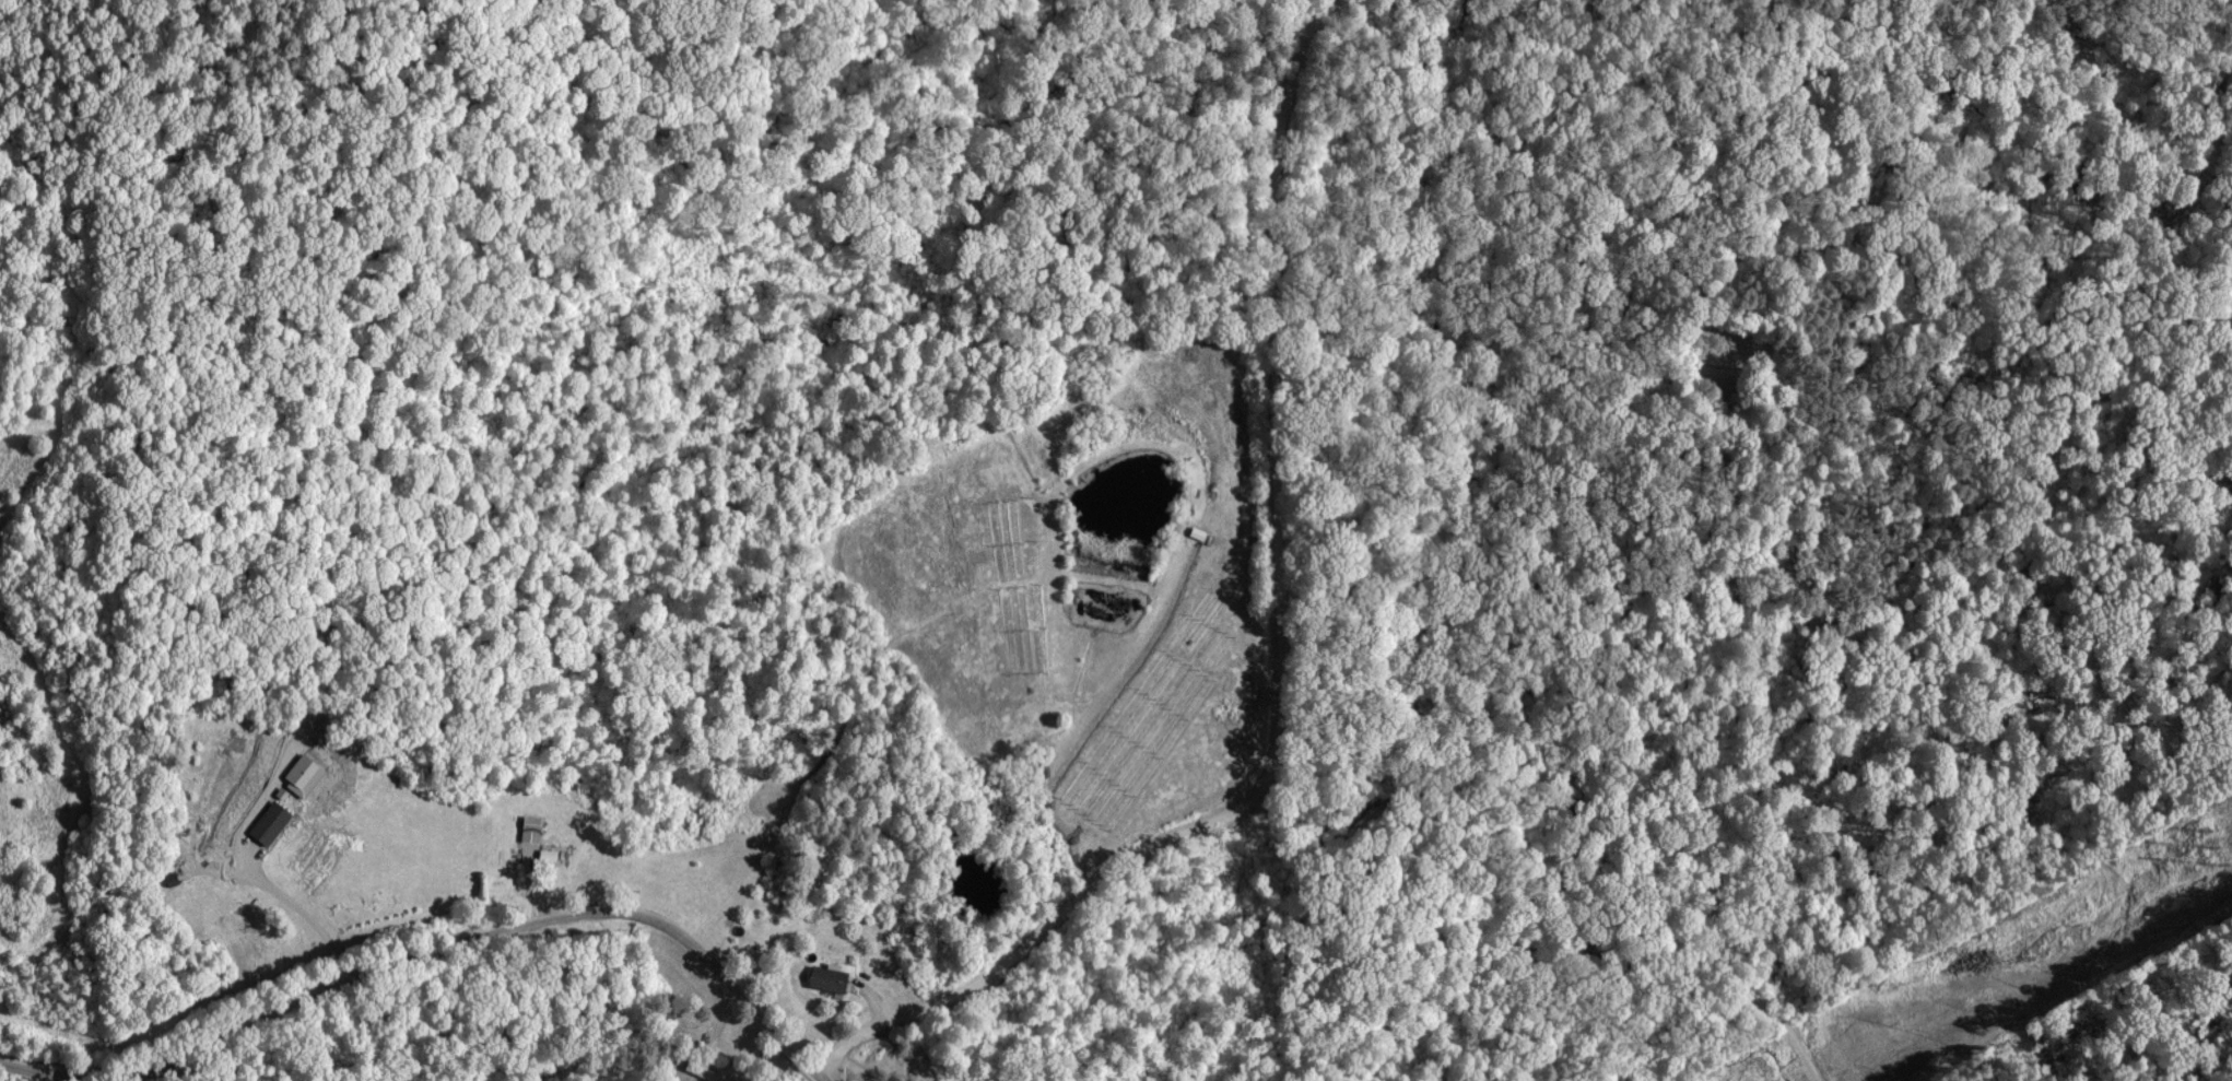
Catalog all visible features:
road: (1276, 655)
road: (1735, 725)
building: (272, 821)
building: (530, 822)
power tower: (2209, 850)
building: (553, 853)
road: (301, 914)
road: (421, 952)
building: (832, 977)
road: (846, 1066)
road: (818, 1070)
building: (704, 1071)

